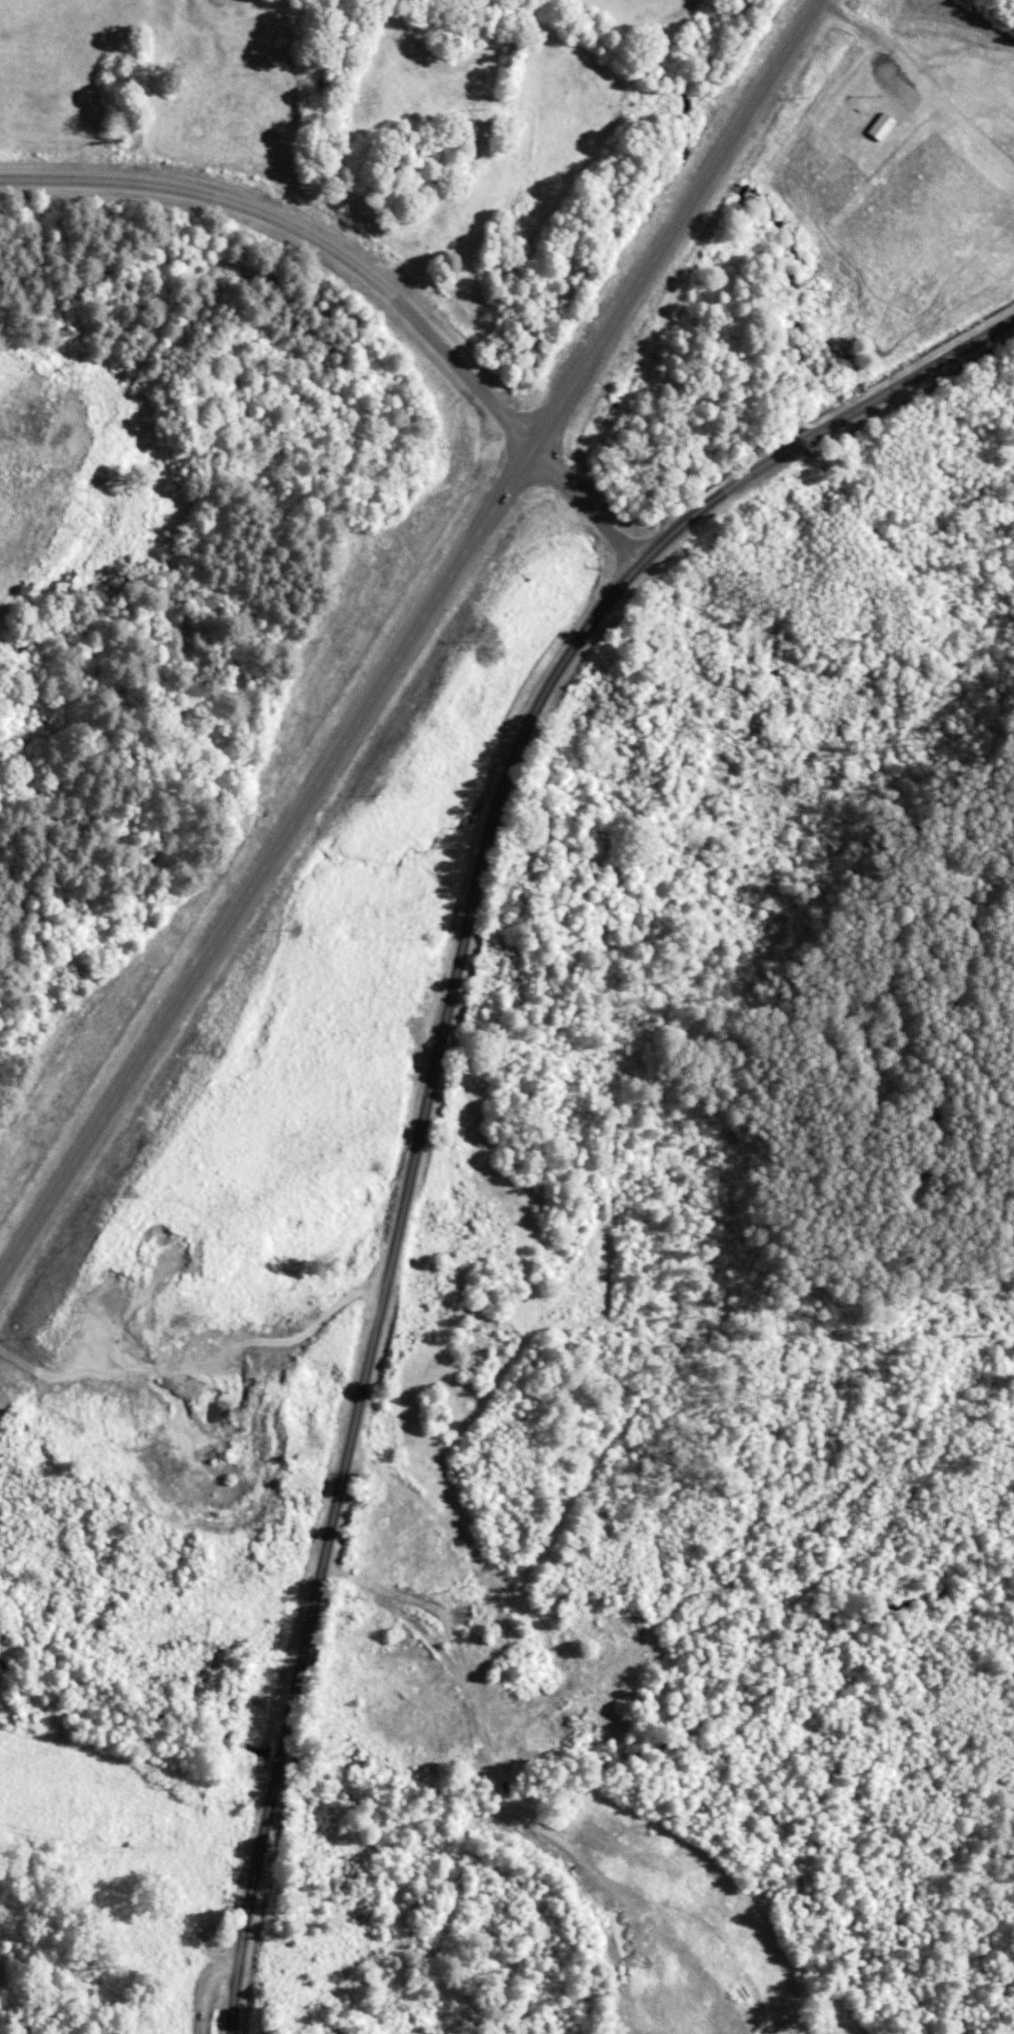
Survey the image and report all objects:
road: (370, 275)
road: (913, 376)
road: (802, 440)
road: (407, 649)
road: (412, 1186)
road: (220, 1994)

